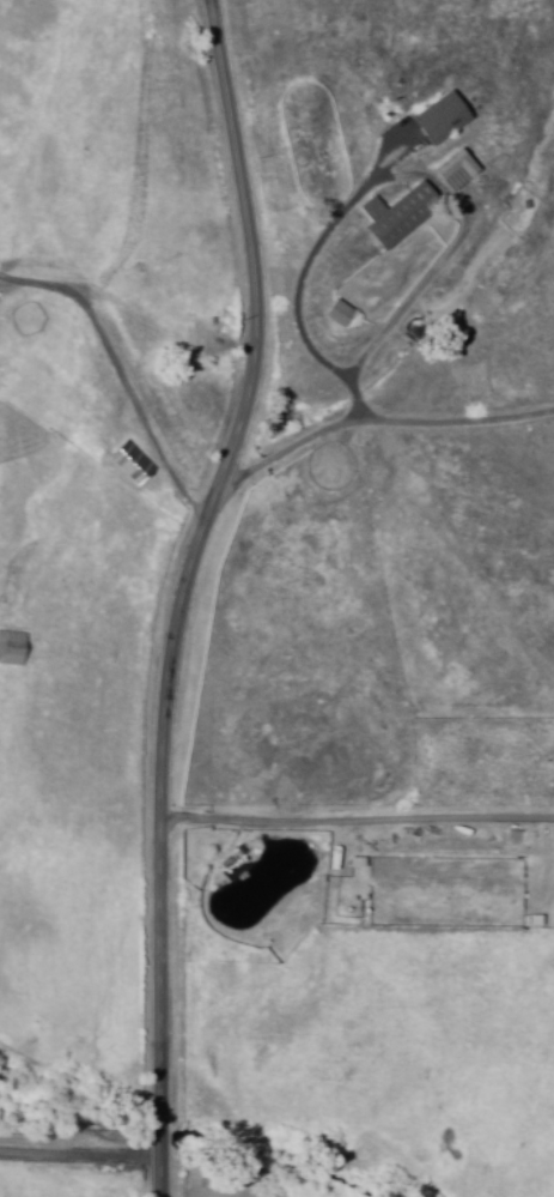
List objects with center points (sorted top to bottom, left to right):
building: (437, 117)
building: (453, 170)
building: (394, 213)
building: (335, 313)
road: (123, 376)
road: (384, 427)
building: (128, 463)
road: (189, 592)
road: (81, 1156)

